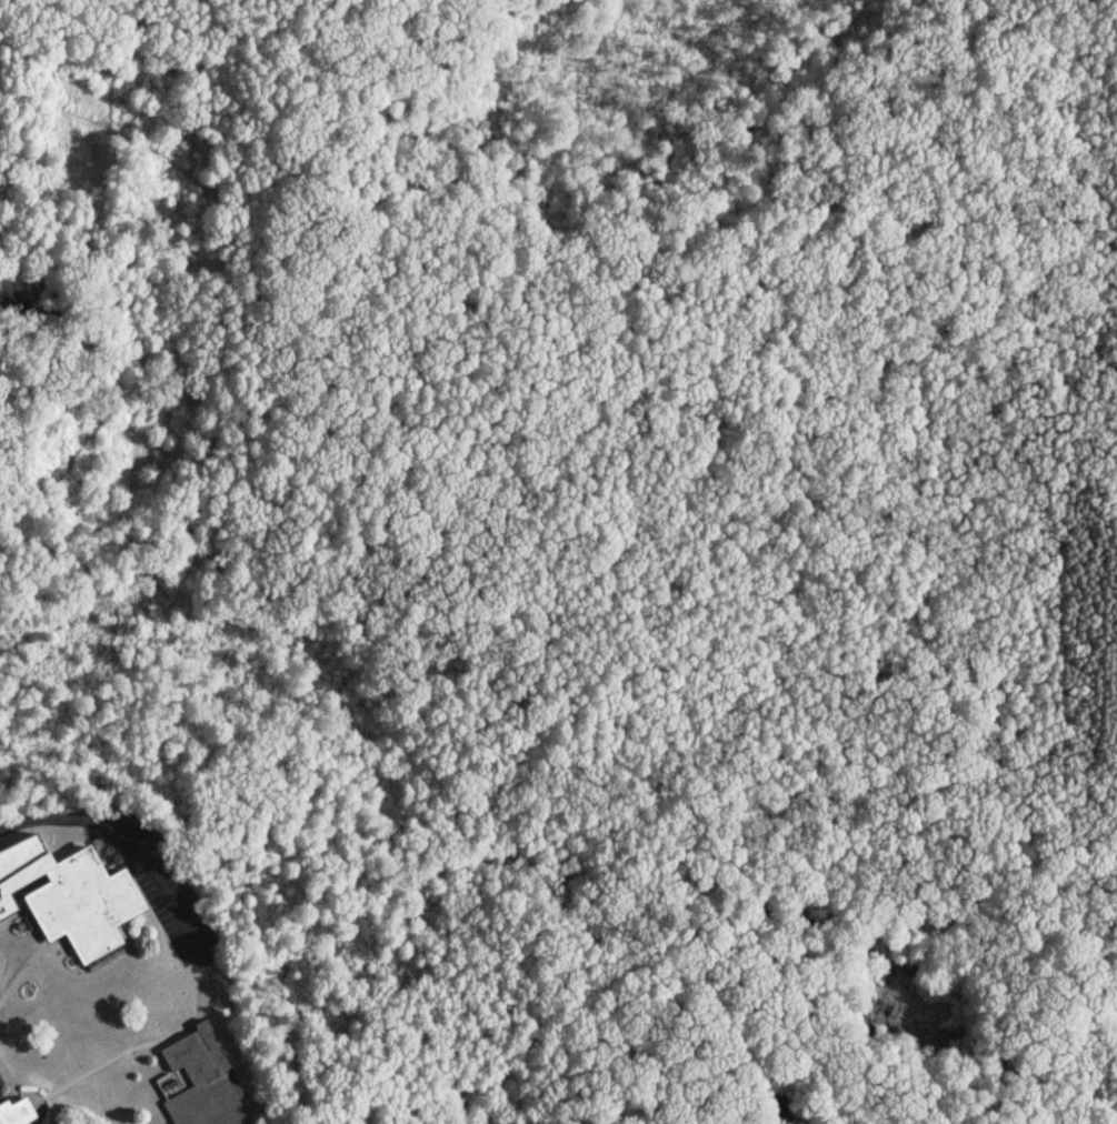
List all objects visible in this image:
road: (190, 229)
road: (126, 490)
building: (17, 870)
building: (76, 905)
road: (166, 939)
road: (1, 955)
road: (27, 962)
road: (102, 1060)
building: (201, 1082)
road: (16, 1095)
building: (14, 1113)

